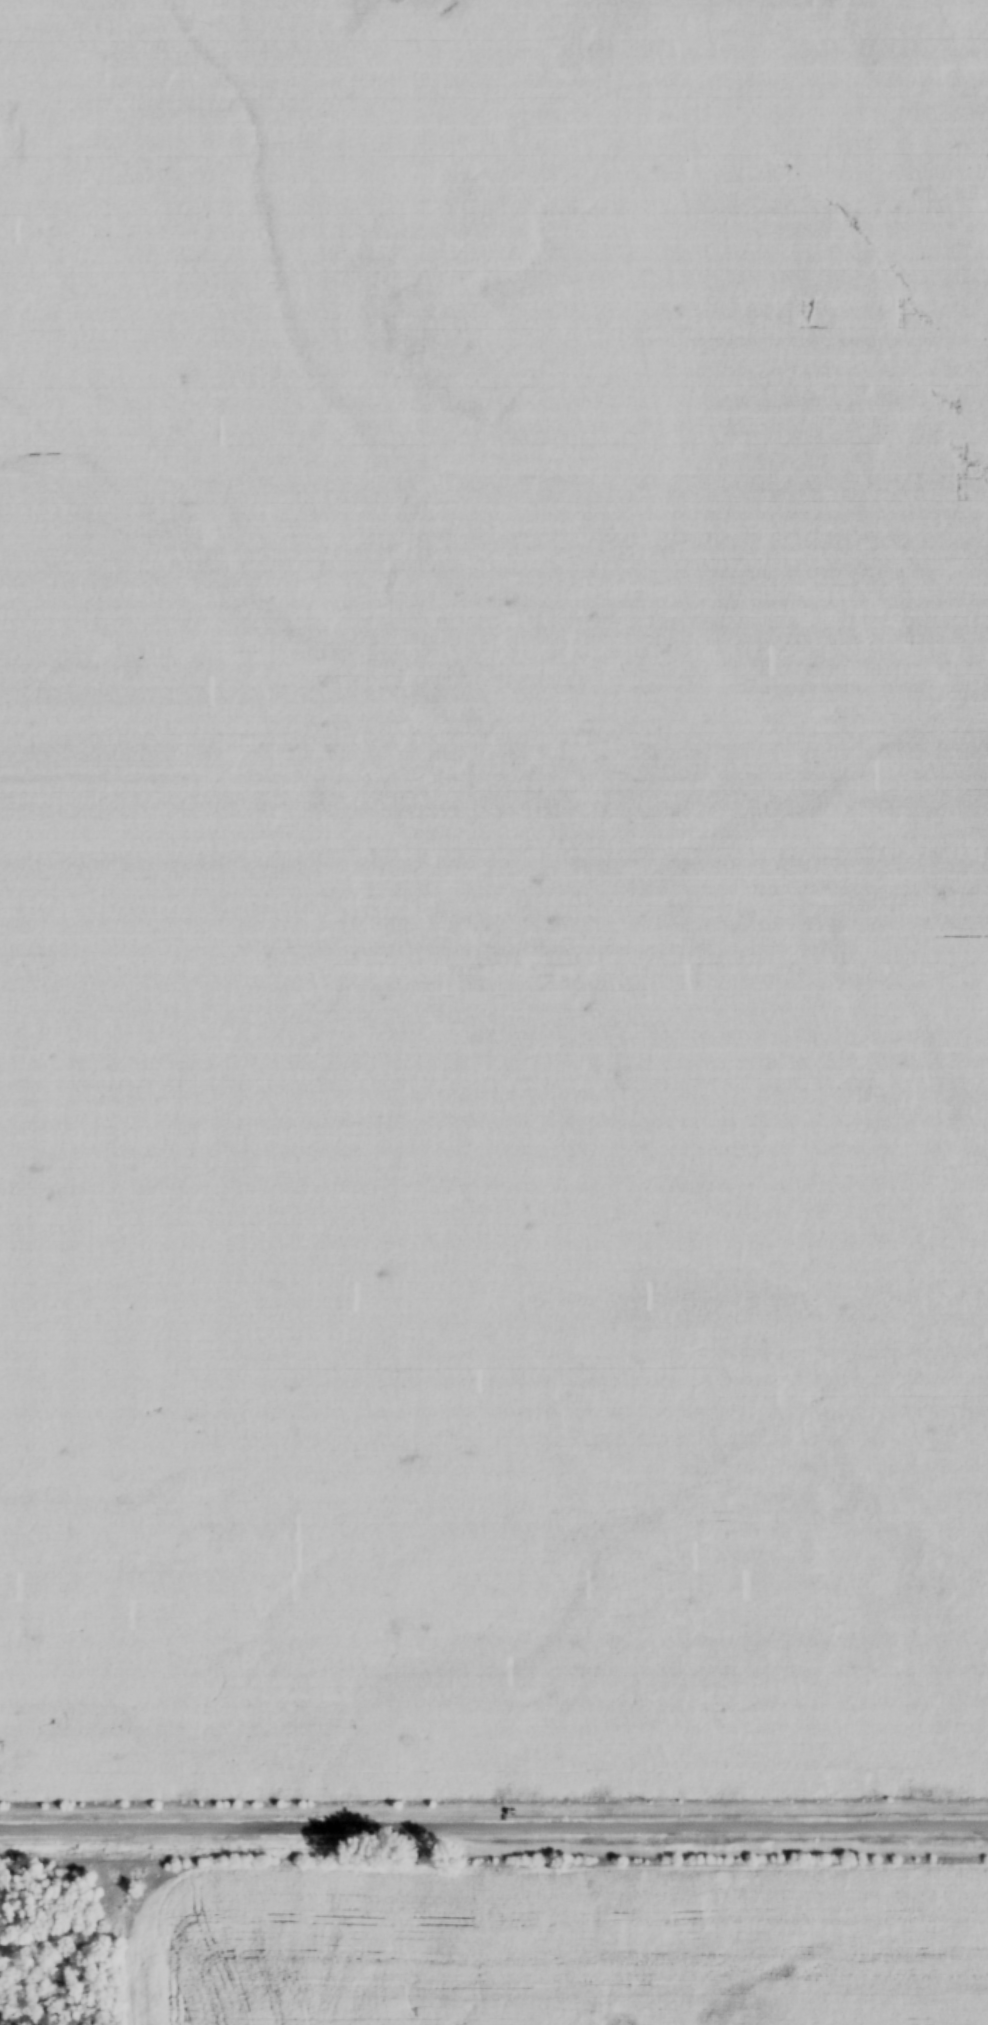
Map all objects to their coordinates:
road: (493, 1822)

